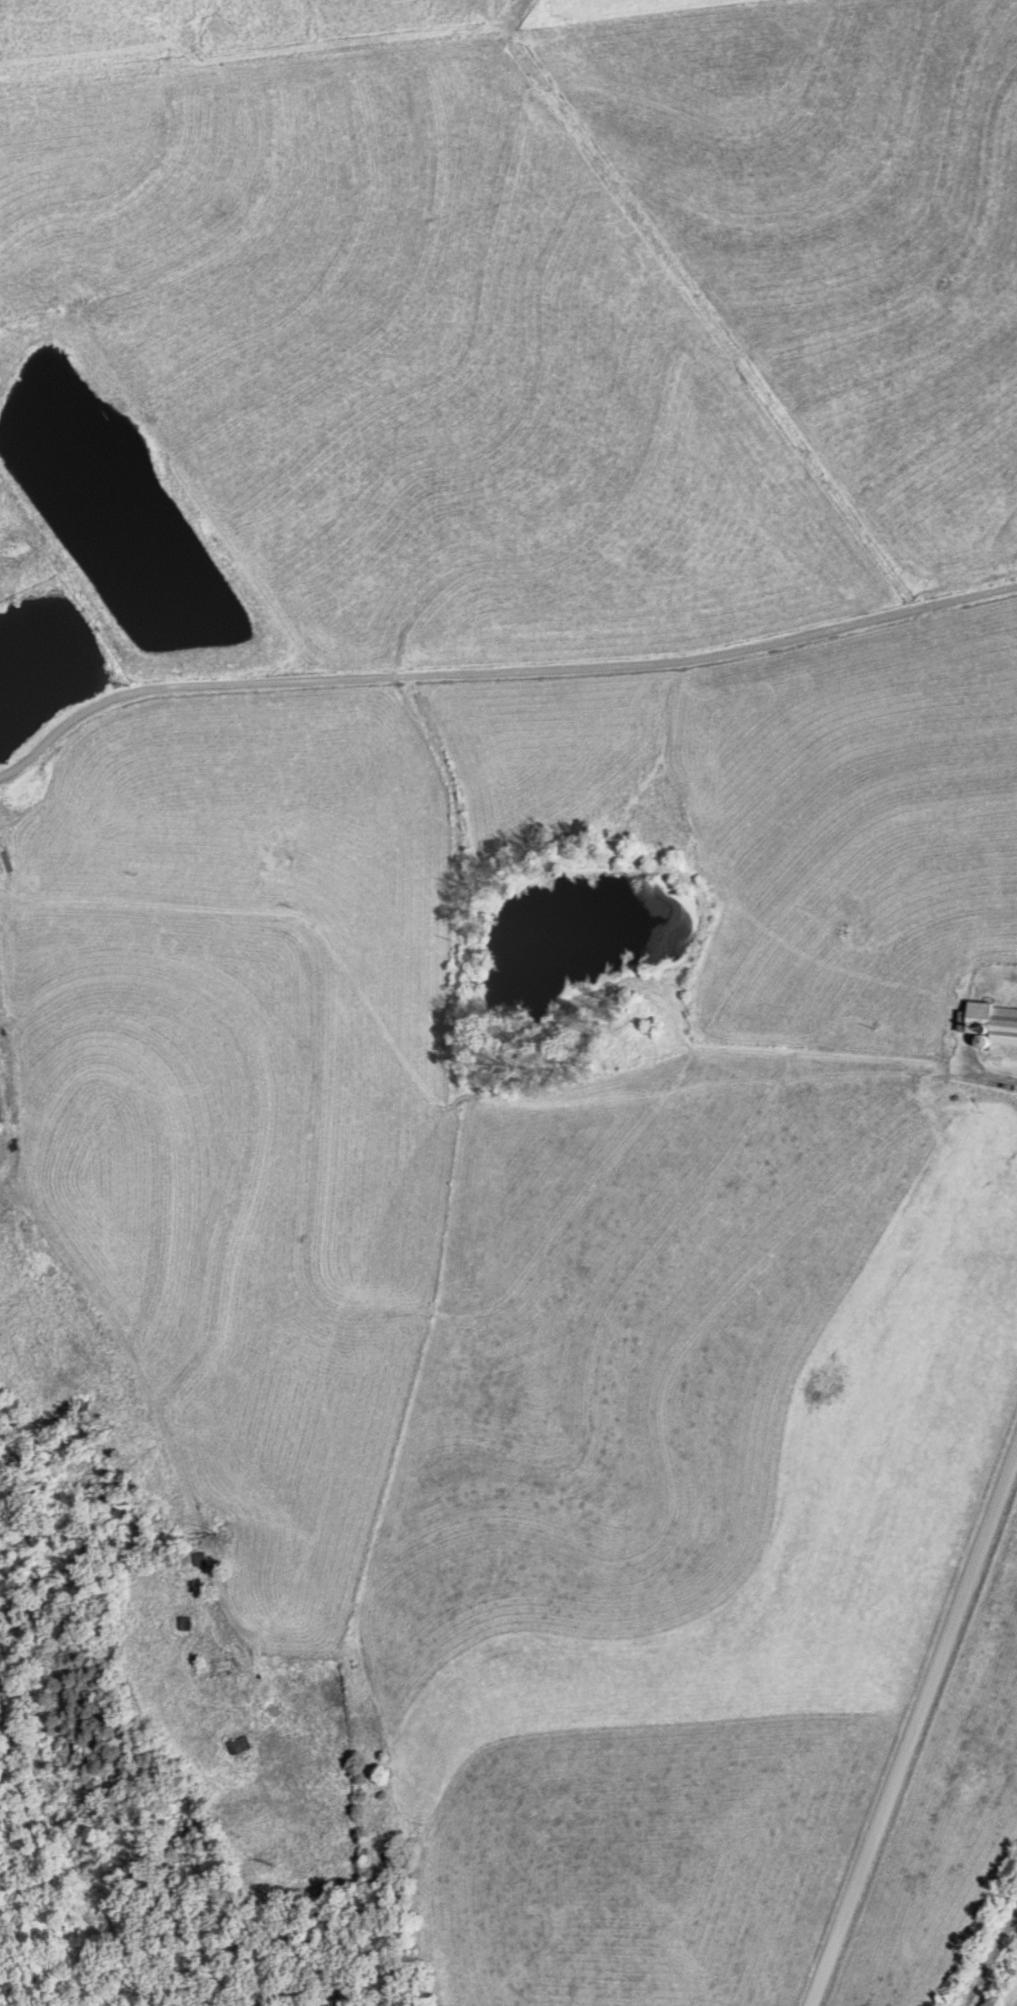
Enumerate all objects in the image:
road: (498, 671)
building: (990, 1024)
road: (169, 1439)
building: (194, 1560)
building: (237, 1662)
road: (915, 1732)
building: (235, 1747)
railway: (989, 1958)

